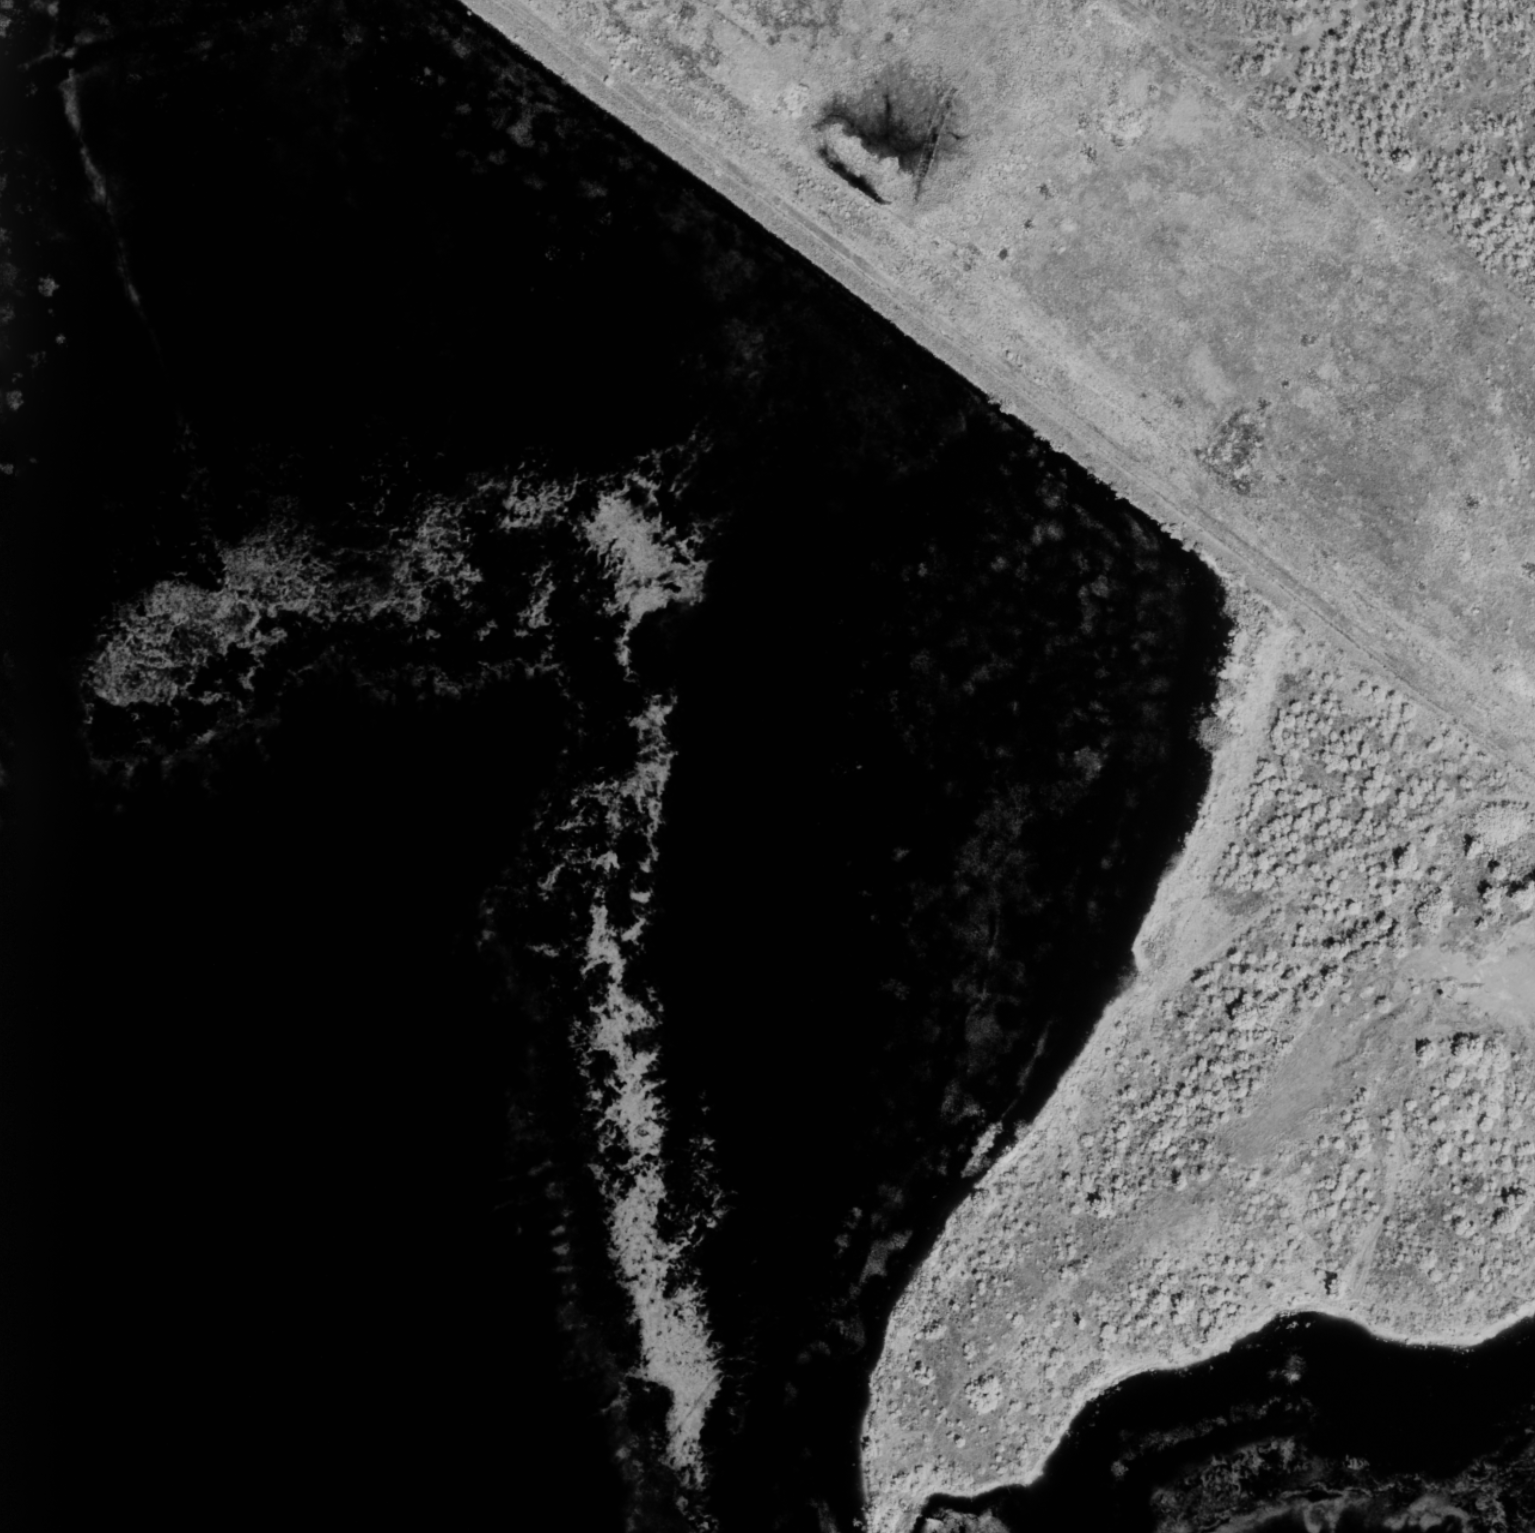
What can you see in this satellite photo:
road: (1023, 383)
road: (1187, 1196)

